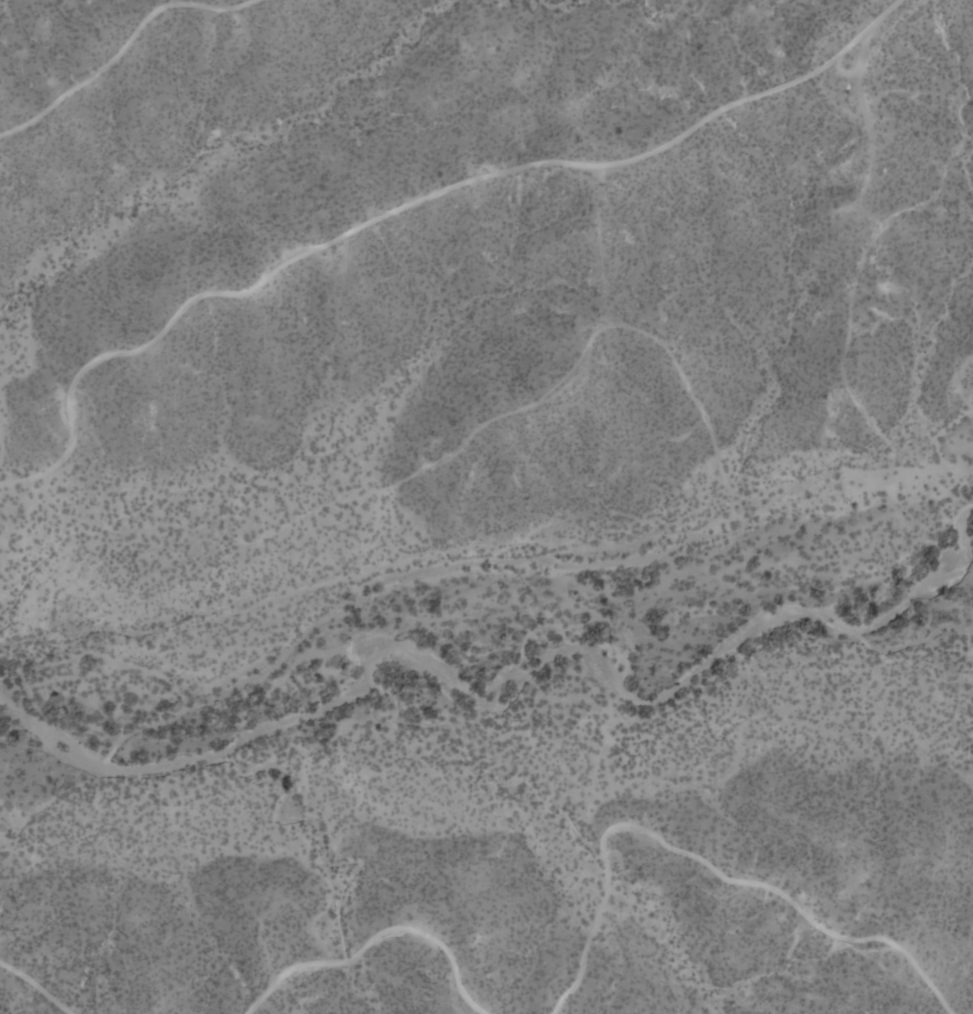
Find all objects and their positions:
road: (409, 207)
road: (704, 863)
road: (374, 937)
road: (38, 984)

